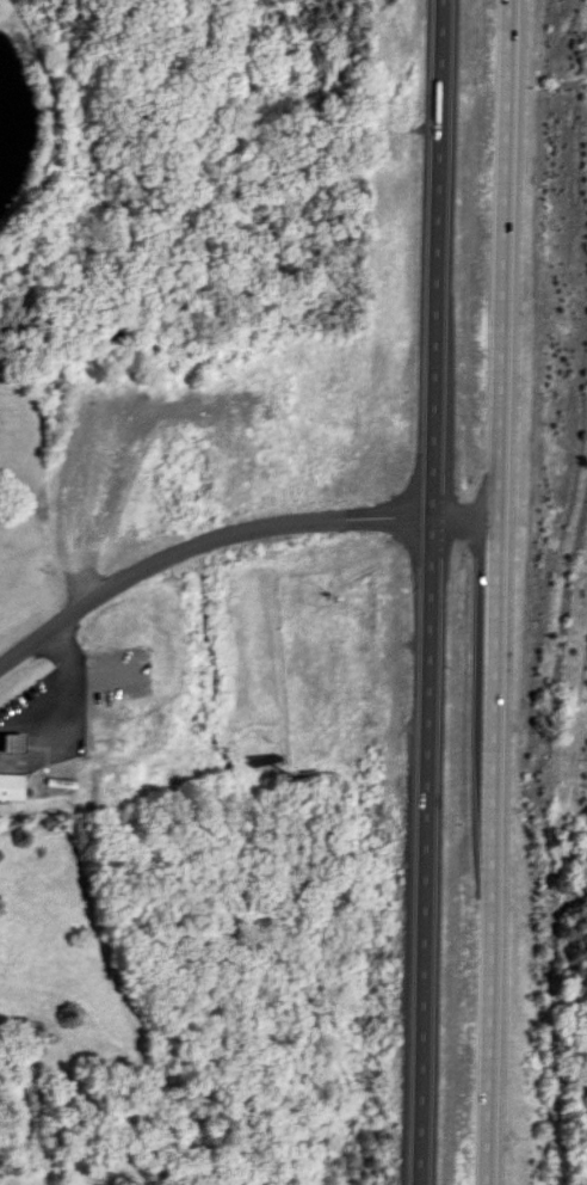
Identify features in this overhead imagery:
road: (231, 533)
road: (427, 591)
road: (498, 591)
road: (54, 689)
building: (8, 787)
park: (569, 1014)

